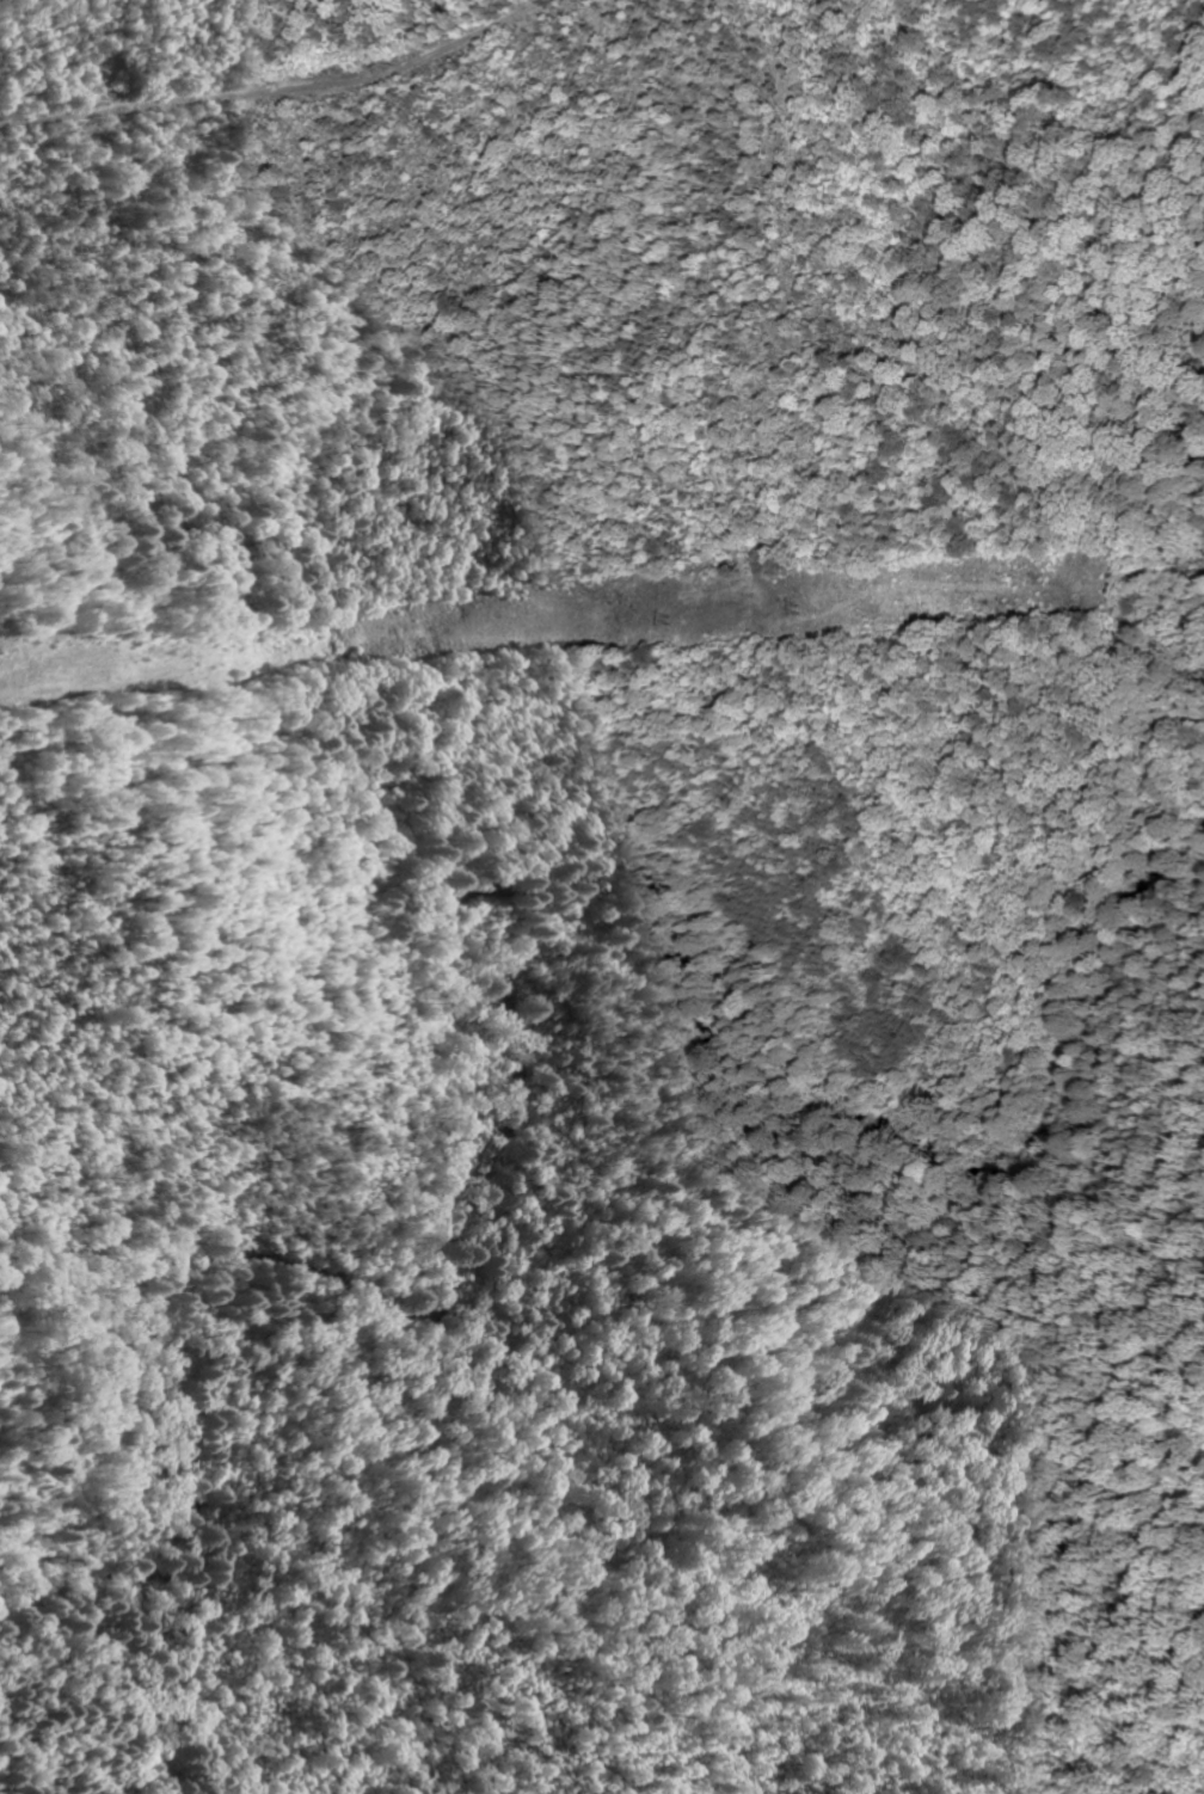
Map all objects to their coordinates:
road: (281, 91)

